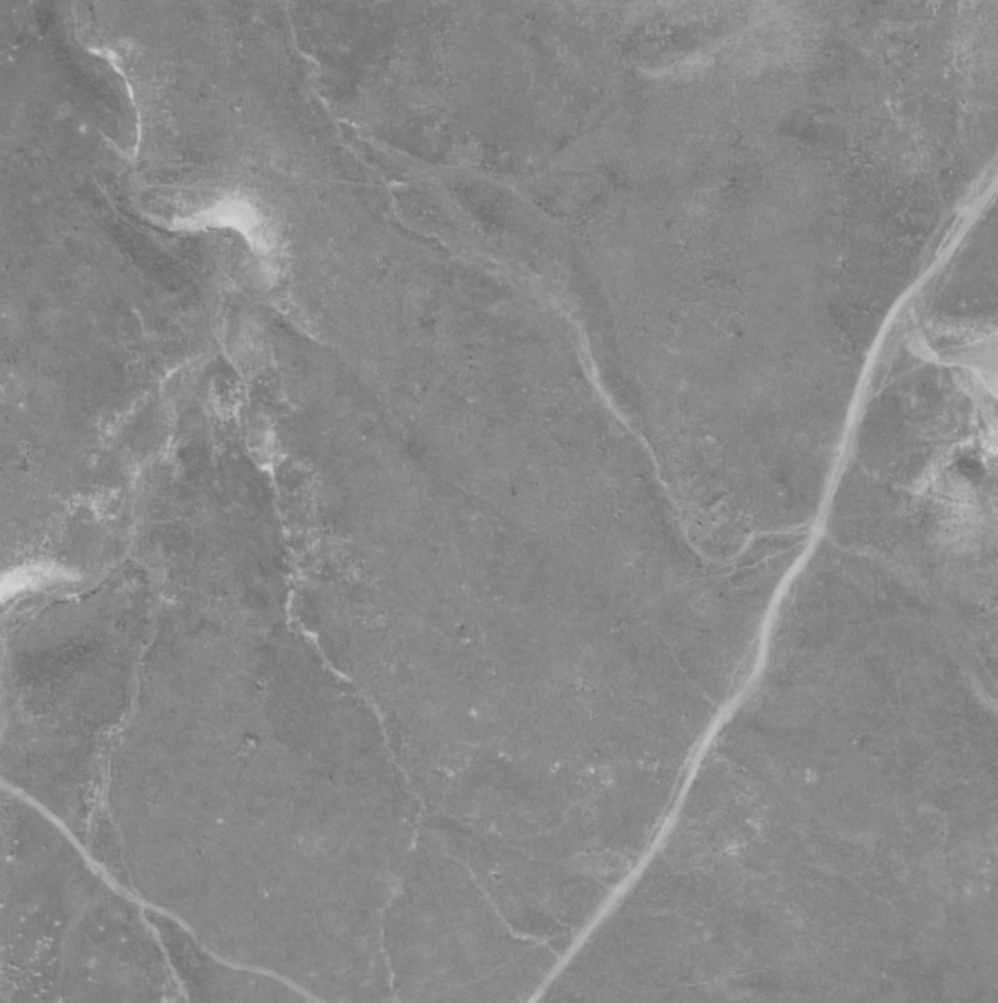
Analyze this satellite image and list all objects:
road: (775, 597)
road: (152, 906)

